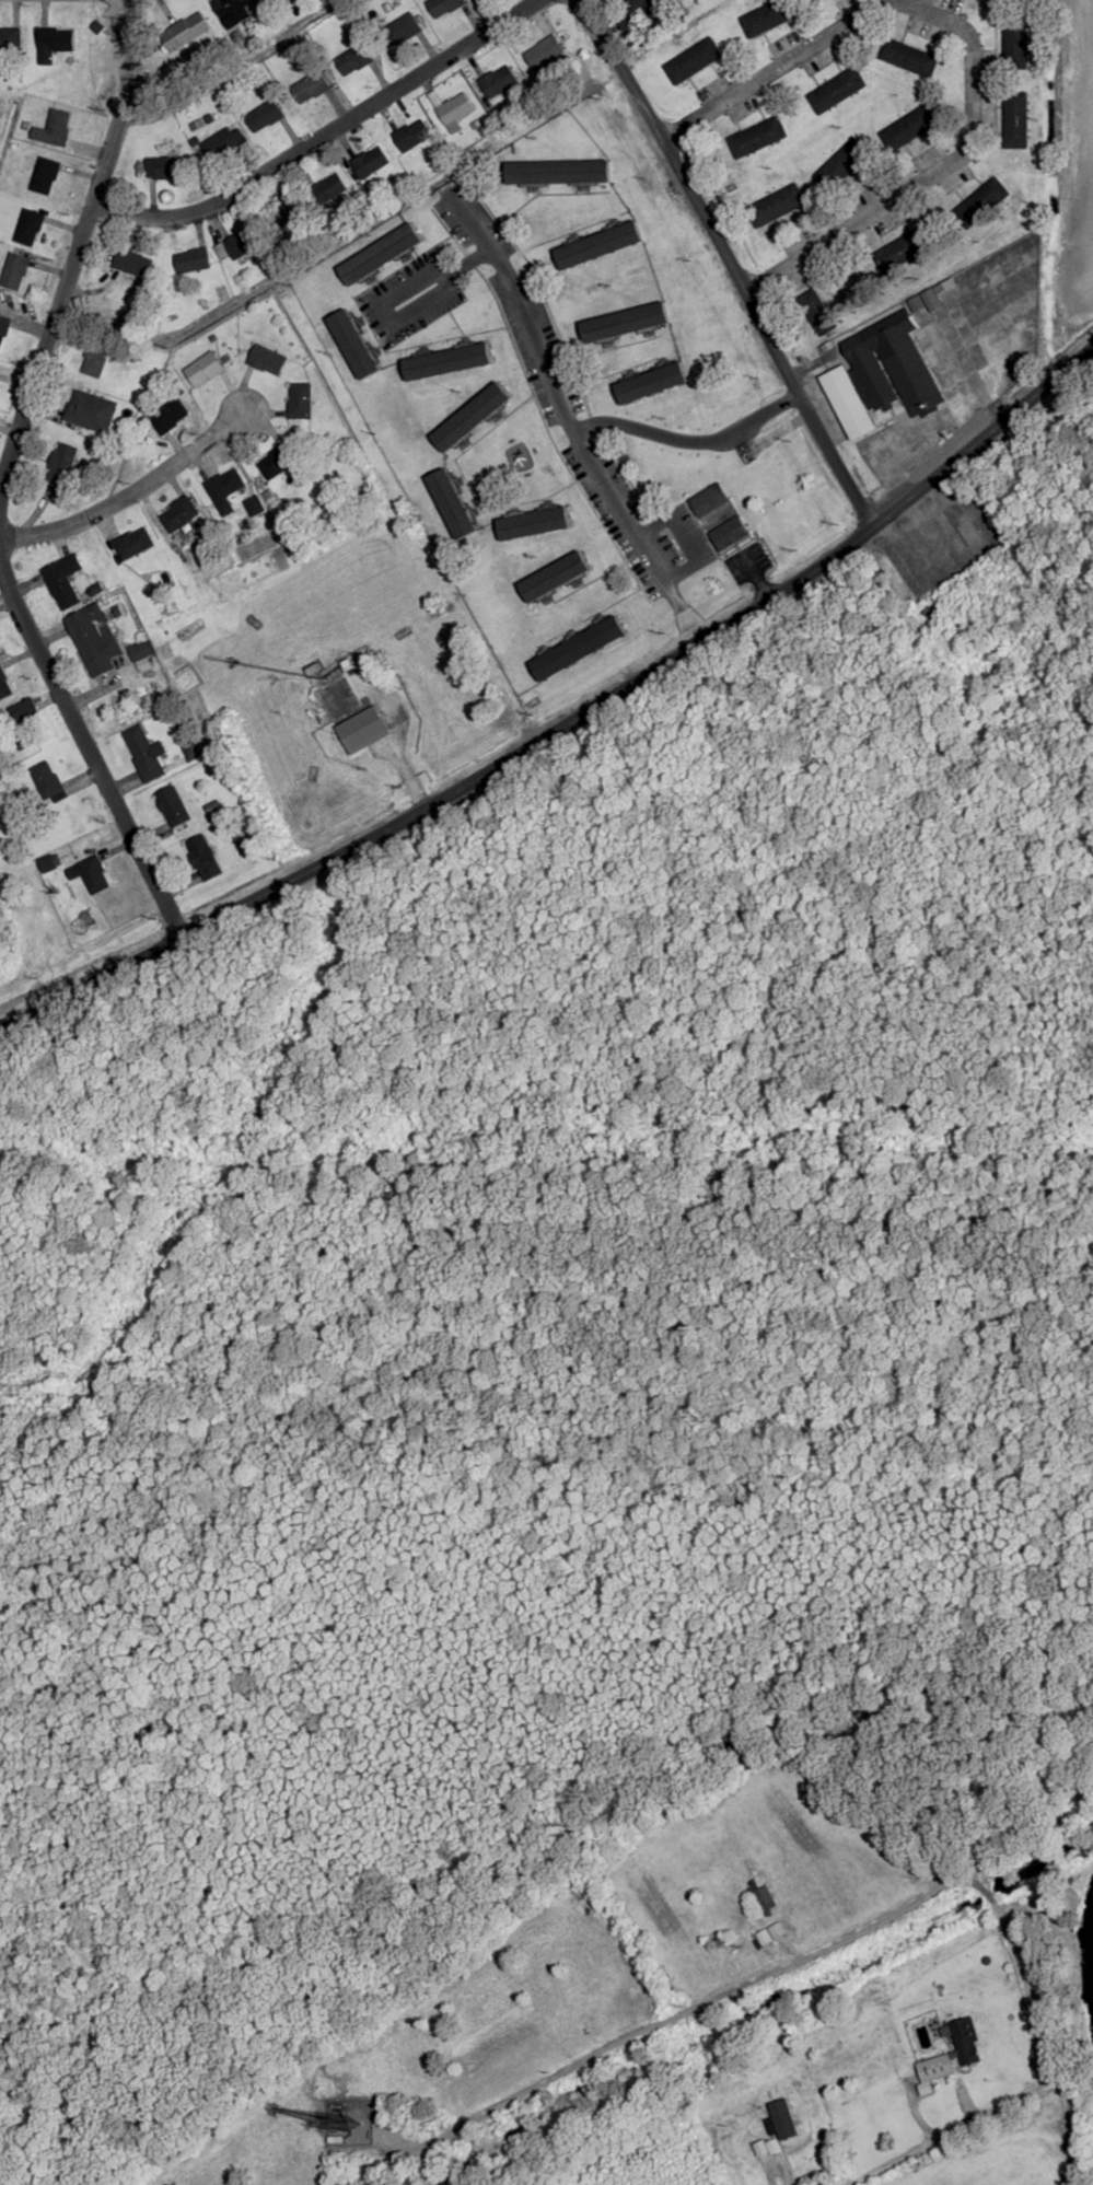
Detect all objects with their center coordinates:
building: (816, 0)
building: (650, 5)
building: (443, 7)
building: (232, 9)
building: (768, 18)
building: (400, 30)
building: (185, 32)
building: (55, 39)
building: (1015, 40)
building: (545, 51)
building: (907, 58)
building: (353, 60)
building: (693, 61)
road: (774, 67)
building: (498, 82)
building: (310, 88)
building: (837, 91)
building: (454, 108)
building: (264, 116)
building: (1015, 121)
building: (57, 127)
building: (910, 127)
road: (316, 135)
building: (411, 136)
building: (756, 138)
building: (225, 144)
building: (370, 162)
building: (841, 164)
building: (163, 167)
road: (929, 171)
building: (559, 172)
building: (44, 176)
building: (327, 189)
building: (981, 201)
building: (776, 206)
building: (287, 219)
building: (27, 228)
building: (237, 244)
building: (911, 244)
building: (600, 245)
building: (382, 255)
road: (720, 255)
building: (191, 260)
building: (127, 261)
building: (14, 272)
building: (816, 312)
building: (626, 323)
building: (3, 330)
building: (354, 345)
building: (94, 358)
building: (267, 360)
building: (903, 360)
building: (447, 362)
building: (204, 369)
building: (652, 383)
building: (299, 400)
building: (848, 403)
building: (89, 411)
building: (168, 416)
building: (472, 417)
road: (566, 418)
building: (278, 462)
building: (61, 464)
road: (9, 478)
building: (224, 485)
road: (131, 489)
building: (709, 501)
building: (453, 504)
building: (253, 508)
building: (178, 514)
building: (534, 523)
building: (729, 534)
parking lot: (933, 538)
building: (133, 544)
building: (555, 578)
building: (62, 581)
building: (92, 640)
building: (579, 649)
building: (140, 656)
building: (4, 686)
road: (570, 721)
building: (21, 723)
building: (361, 730)
road: (388, 749)
building: (142, 754)
building: (45, 780)
building: (172, 806)
building: (202, 858)
building: (92, 875)
railway: (546, 1134)
building: (765, 1898)
road: (839, 1937)
building: (967, 2042)
crop: (440, 2067)
building: (935, 2068)
building: (338, 2140)

